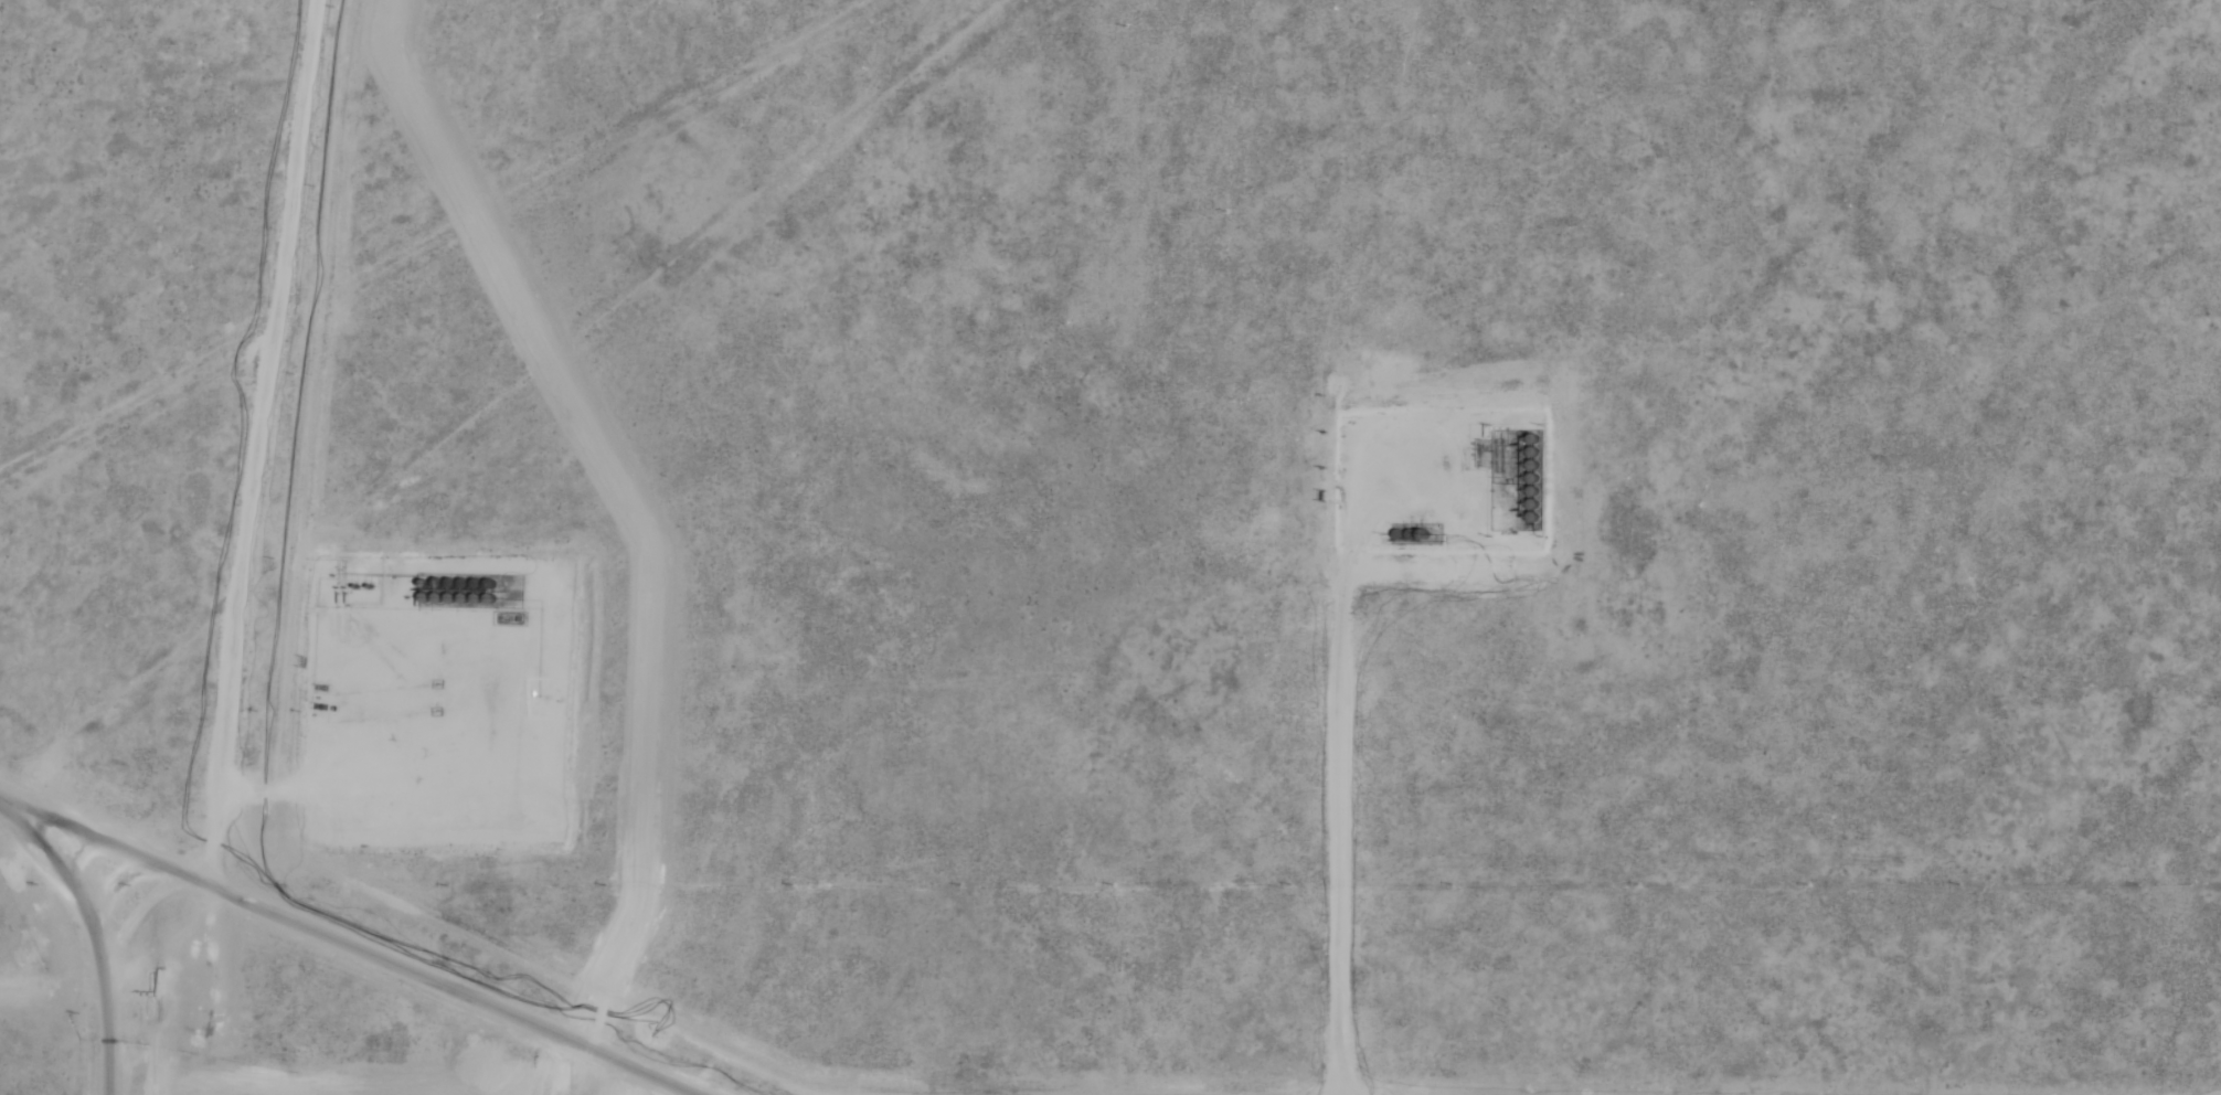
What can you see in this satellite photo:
road: (258, 440)
petroleum well: (1436, 475)
road: (1351, 763)
road: (95, 837)
road: (97, 939)
road: (459, 986)

